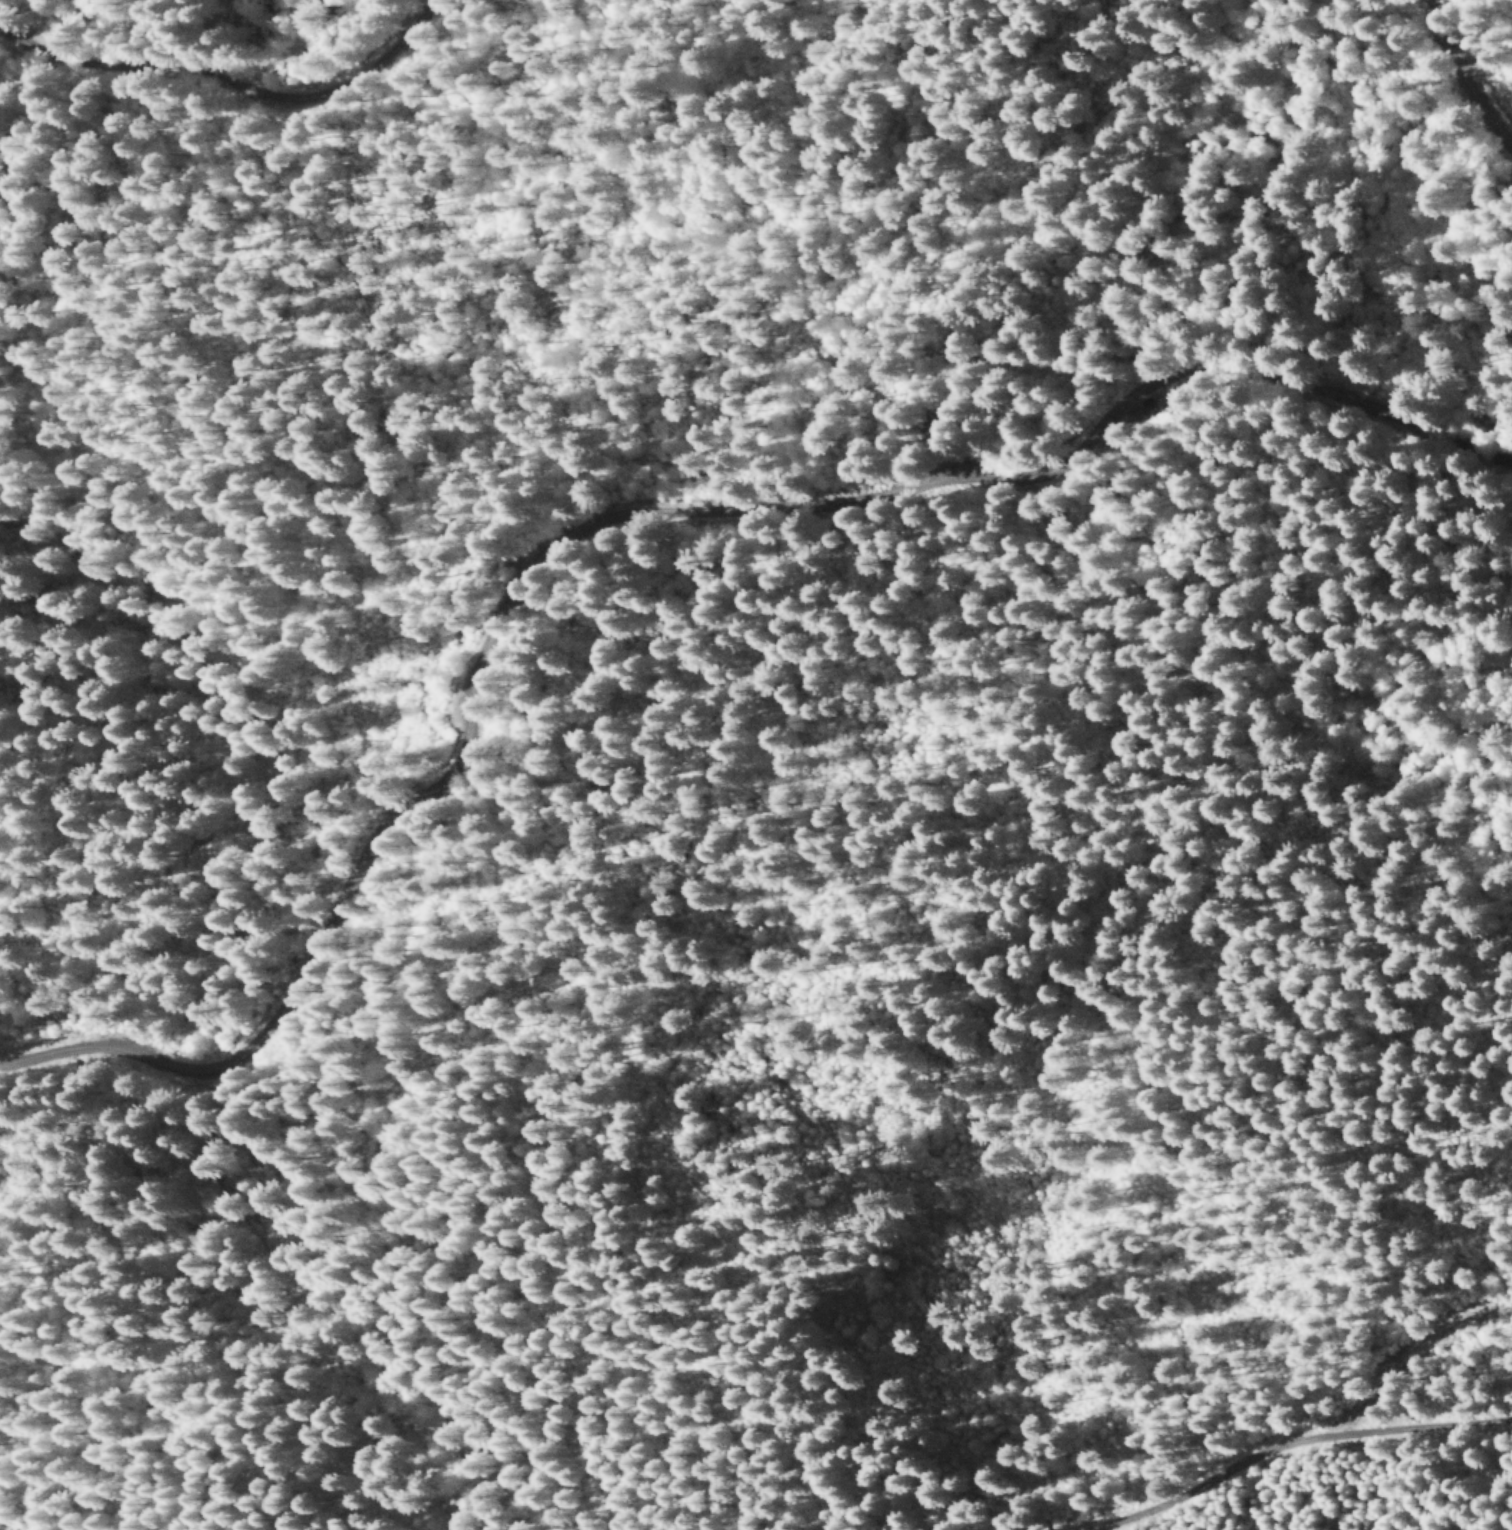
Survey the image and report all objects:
road: (230, 94)
road: (1312, 1462)

